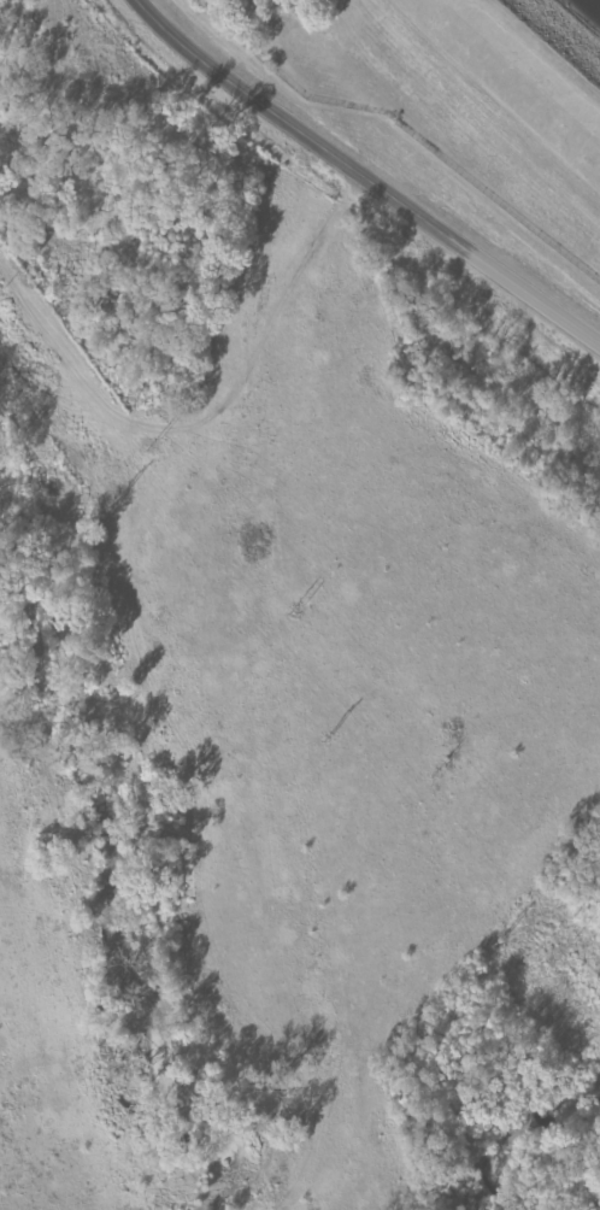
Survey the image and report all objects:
road: (359, 176)
power tower: (123, 498)
power tower: (330, 736)
power tower: (505, 936)

